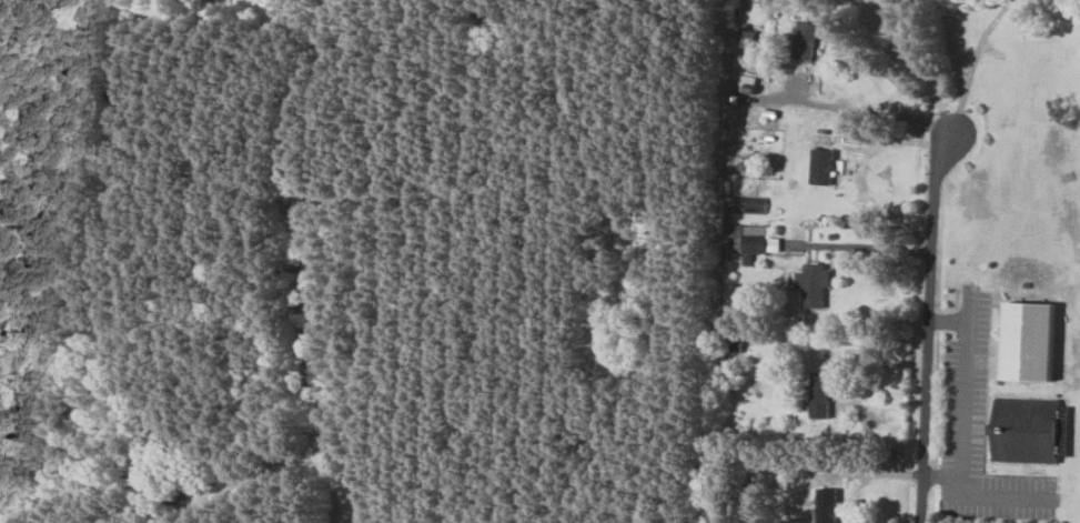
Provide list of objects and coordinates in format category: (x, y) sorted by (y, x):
building: (744, 39)
building: (800, 40)
road: (920, 62)
road: (972, 66)
road: (875, 111)
building: (817, 167)
building: (756, 240)
road: (875, 248)
road: (301, 257)
building: (811, 284)
road: (928, 329)
building: (1025, 342)
building: (818, 394)
road: (963, 395)
building: (1021, 430)
road: (996, 494)
road: (341, 519)

